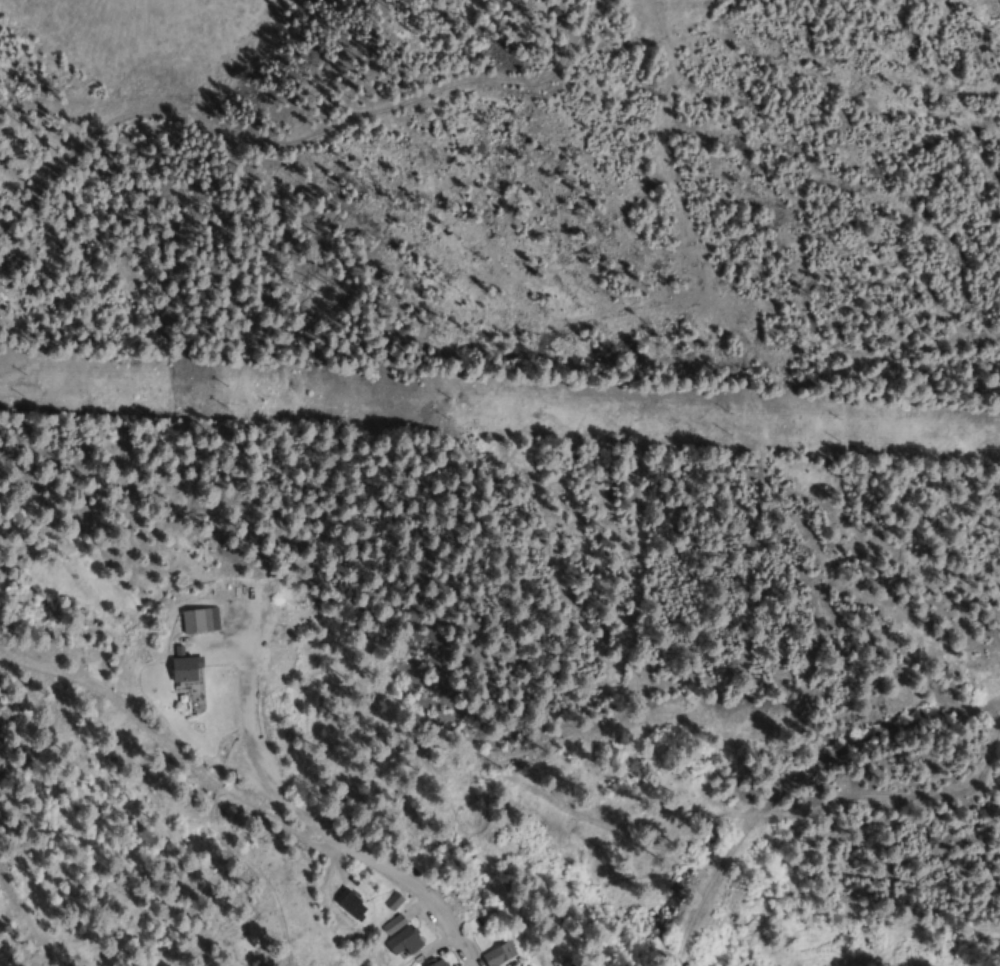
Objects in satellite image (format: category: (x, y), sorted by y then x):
building: (199, 621)
building: (183, 670)
road: (901, 726)
road: (349, 844)
building: (392, 900)
building: (349, 903)
building: (392, 924)
building: (402, 941)
building: (497, 954)
building: (436, 963)
building: (576, 964)

